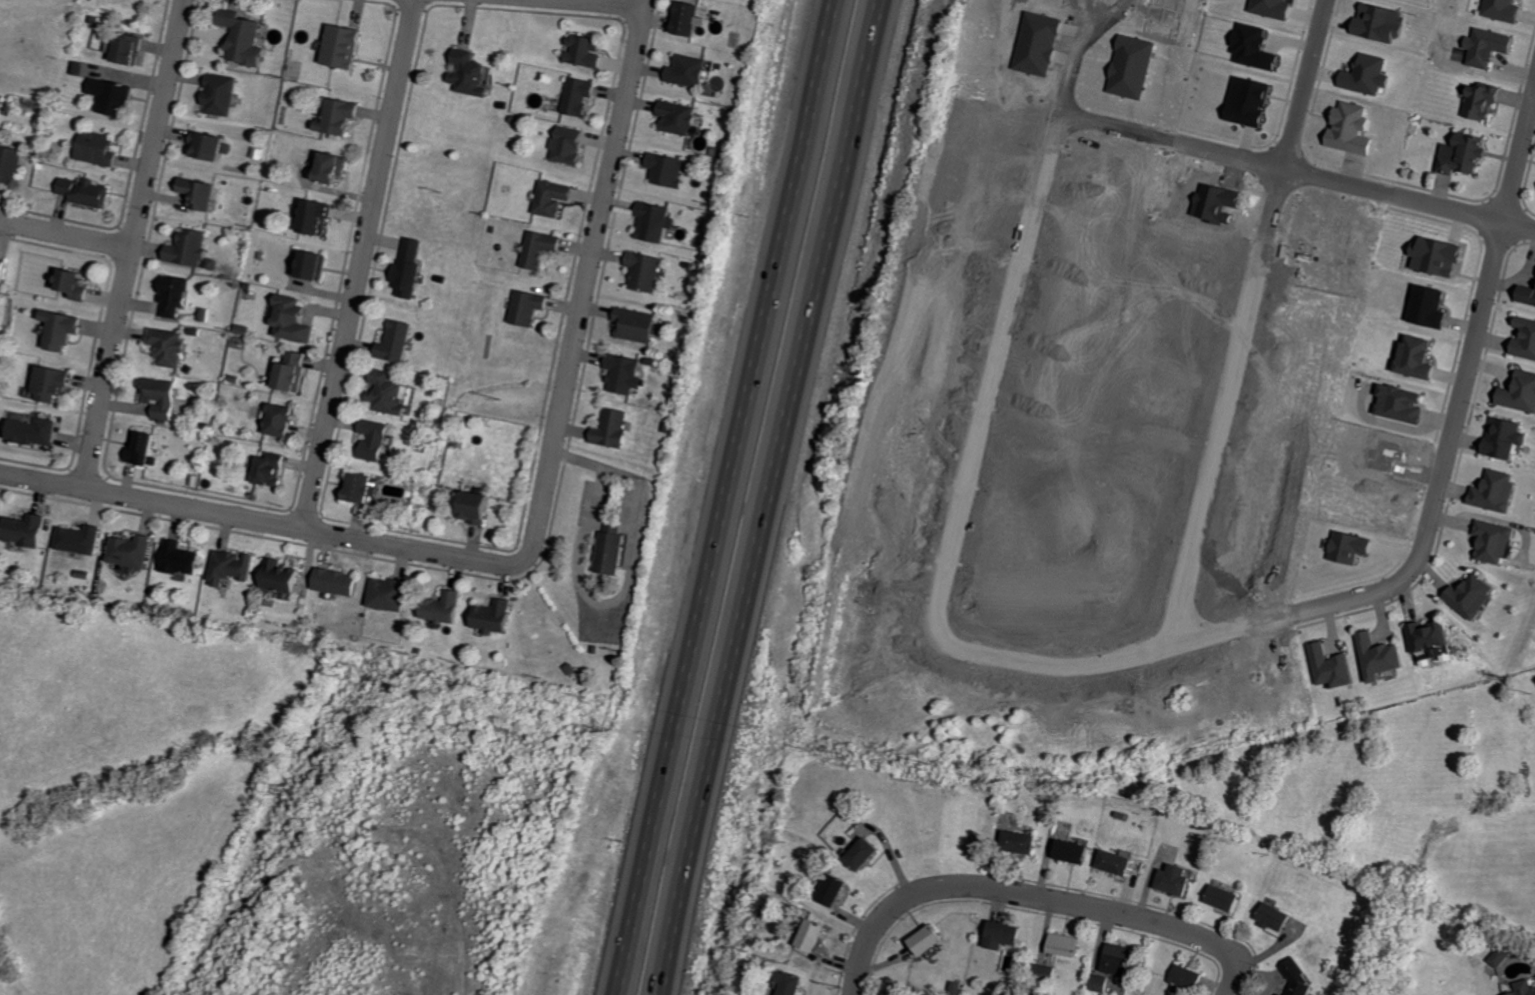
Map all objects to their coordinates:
road: (593, 4)
building: (1275, 8)
building: (1508, 9)
building: (692, 17)
building: (1382, 22)
building: (247, 37)
building: (346, 46)
building: (1491, 46)
building: (1256, 47)
building: (130, 48)
building: (587, 50)
building: (1133, 66)
building: (689, 70)
building: (473, 73)
building: (1369, 74)
road: (1301, 83)
building: (223, 94)
building: (582, 95)
building: (116, 96)
building: (1486, 100)
building: (1252, 101)
building: (343, 116)
building: (680, 117)
building: (213, 145)
building: (571, 145)
building: (102, 148)
building: (1469, 154)
building: (11, 164)
building: (336, 167)
building: (671, 169)
road: (1297, 170)
building: (90, 191)
building: (202, 192)
building: (556, 197)
building: (320, 216)
building: (656, 221)
road: (66, 235)
road: (134, 245)
building: (192, 247)
building: (544, 248)
building: (1442, 255)
building: (316, 264)
road: (362, 266)
building: (412, 266)
building: (647, 270)
building: (6, 271)
road: (588, 282)
building: (80, 284)
building: (176, 294)
building: (1529, 294)
building: (532, 306)
building: (1433, 306)
building: (295, 319)
road: (1006, 321)
building: (638, 324)
building: (67, 329)
building: (1526, 339)
building: (399, 341)
building: (170, 346)
building: (1421, 357)
building: (294, 371)
building: (625, 373)
building: (57, 383)
building: (390, 393)
building: (1522, 393)
building: (162, 396)
building: (1404, 403)
road: (1221, 405)
building: (284, 420)
building: (613, 428)
building: (36, 429)
building: (1508, 438)
building: (380, 439)
building: (144, 447)
building: (273, 469)
building: (369, 487)
building: (1499, 491)
road: (727, 497)
road: (771, 497)
road: (260, 522)
building: (29, 530)
building: (81, 539)
building: (1499, 540)
building: (1353, 547)
building: (613, 549)
building: (133, 550)
building: (183, 558)
building: (236, 566)
road: (1408, 569)
building: (286, 576)
building: (342, 581)
building: (393, 594)
building: (1477, 596)
building: (445, 607)
building: (495, 616)
building: (1435, 639)
building: (1385, 657)
building: (1336, 667)
building: (1023, 843)
building: (1075, 852)
building: (869, 854)
building: (1118, 863)
building: (1178, 880)
building: (837, 890)
road: (1036, 896)
building: (1228, 898)
building: (1280, 918)
building: (1006, 935)
building: (815, 936)
building: (931, 940)
building: (1068, 945)
building: (1503, 957)
building: (1122, 959)
building: (1191, 978)
building: (1303, 978)
building: (794, 983)
building: (1526, 988)
building: (1286, 994)

